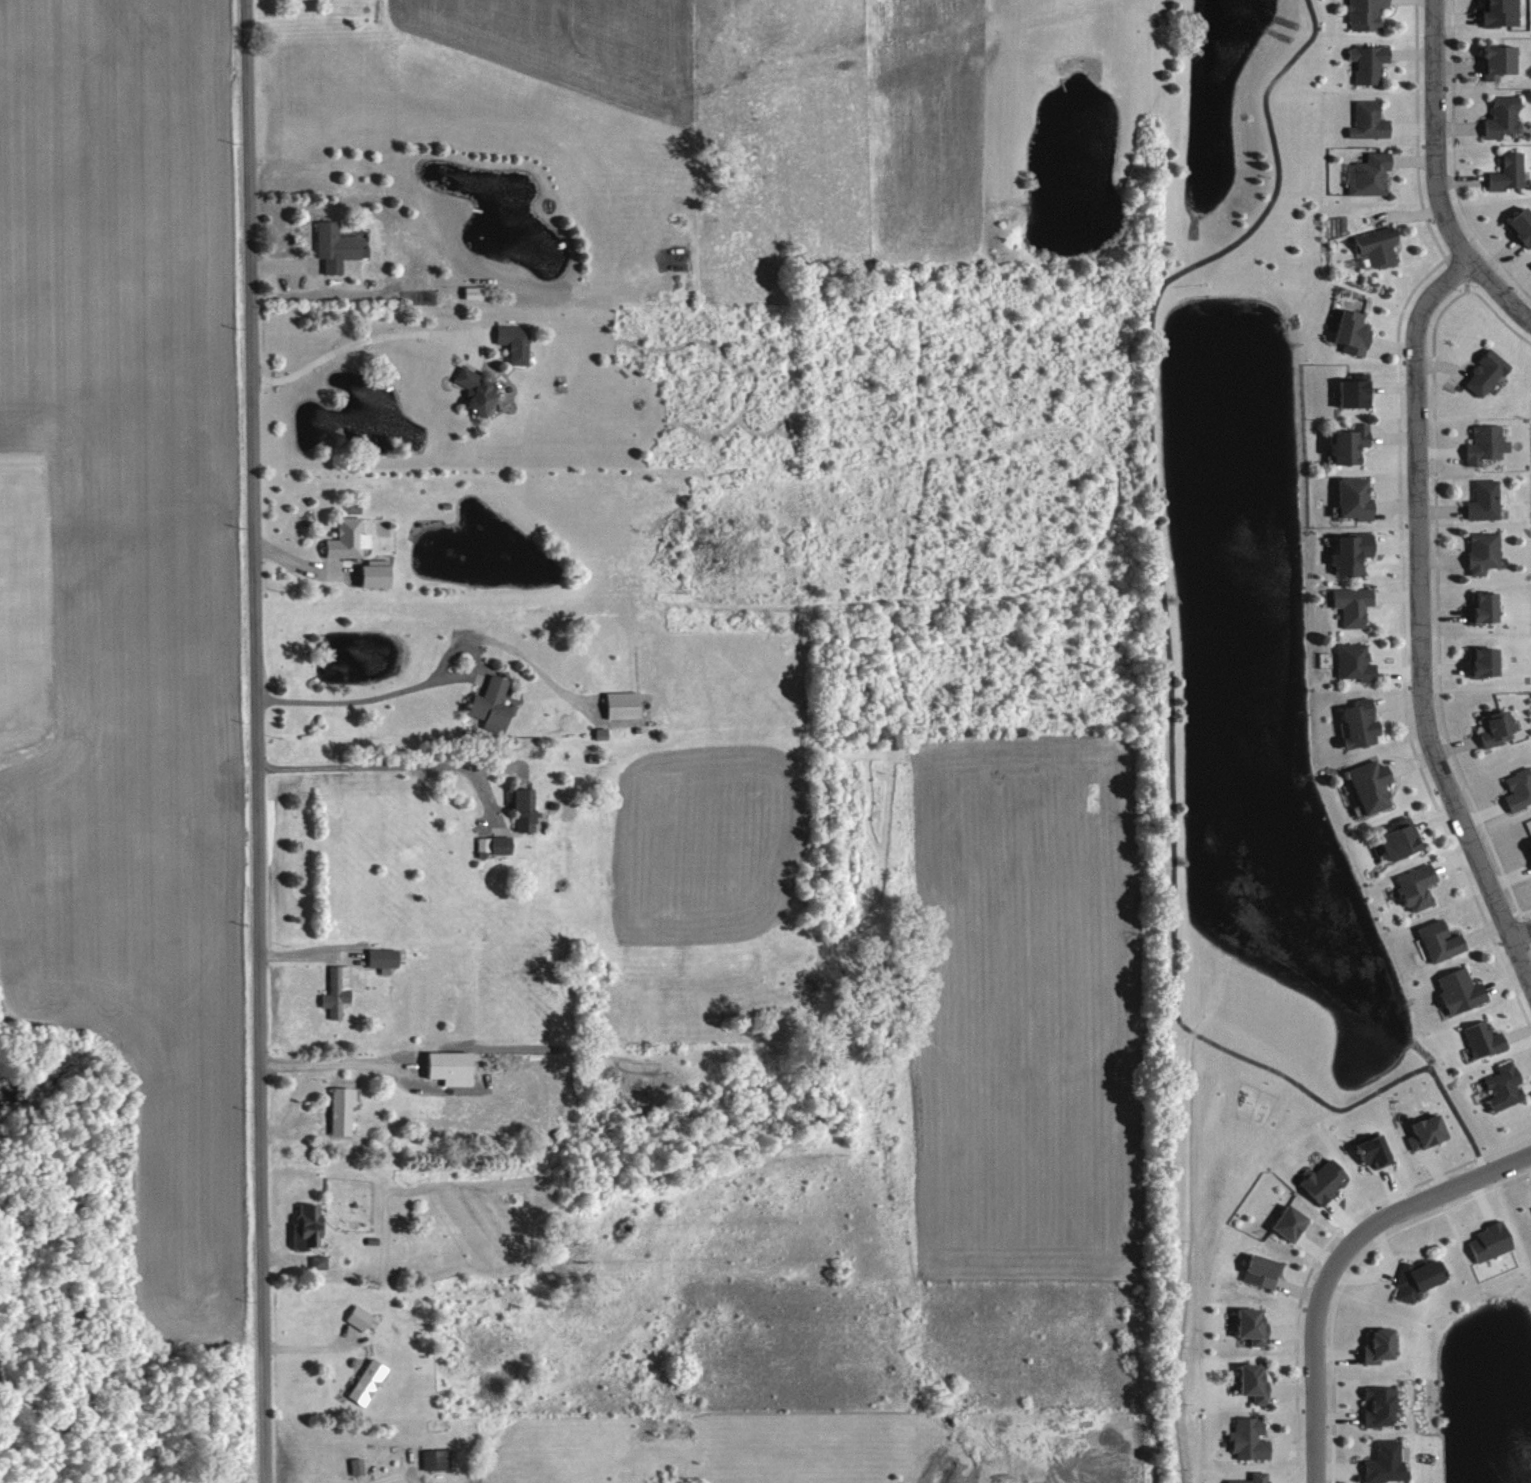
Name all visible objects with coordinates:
building: (1493, 12)
building: (1357, 14)
building: (1489, 61)
building: (1362, 62)
building: (1496, 117)
building: (1363, 120)
building: (1500, 172)
building: (1364, 174)
road: (1433, 179)
building: (1515, 226)
building: (331, 246)
building: (1373, 246)
building: (1344, 331)
building: (509, 342)
road: (354, 343)
building: (1479, 373)
building: (470, 390)
building: (1346, 392)
building: (1342, 444)
building: (1481, 444)
building: (1348, 498)
building: (1479, 500)
building: (342, 539)
building: (1344, 552)
building: (1477, 552)
building: (365, 576)
building: (1347, 605)
building: (1476, 608)
road: (1421, 624)
building: (1348, 661)
building: (1478, 662)
road: (362, 699)
building: (484, 702)
building: (615, 705)
building: (1489, 728)
road: (257, 741)
road: (385, 765)
building: (1364, 785)
building: (1514, 789)
building: (517, 809)
building: (1392, 839)
building: (479, 844)
building: (497, 844)
building: (1526, 853)
building: (1409, 888)
road: (1521, 933)
building: (1433, 940)
building: (379, 956)
building: (334, 990)
building: (1452, 990)
building: (1478, 1038)
road: (333, 1063)
building: (442, 1066)
building: (1497, 1086)
building: (335, 1110)
building: (1418, 1129)
building: (1367, 1150)
building: (1315, 1180)
building: (1530, 1205)
building: (1282, 1223)
building: (302, 1226)
building: (1485, 1240)
building: (314, 1261)
road: (1336, 1261)
building: (1254, 1270)
building: (1411, 1278)
building: (353, 1316)
building: (1243, 1325)
building: (1369, 1344)
building: (361, 1381)
building: (1245, 1382)
building: (1373, 1405)
building: (1243, 1438)
building: (432, 1459)
building: (1380, 1462)
building: (352, 1465)
building: (1247, 1478)

